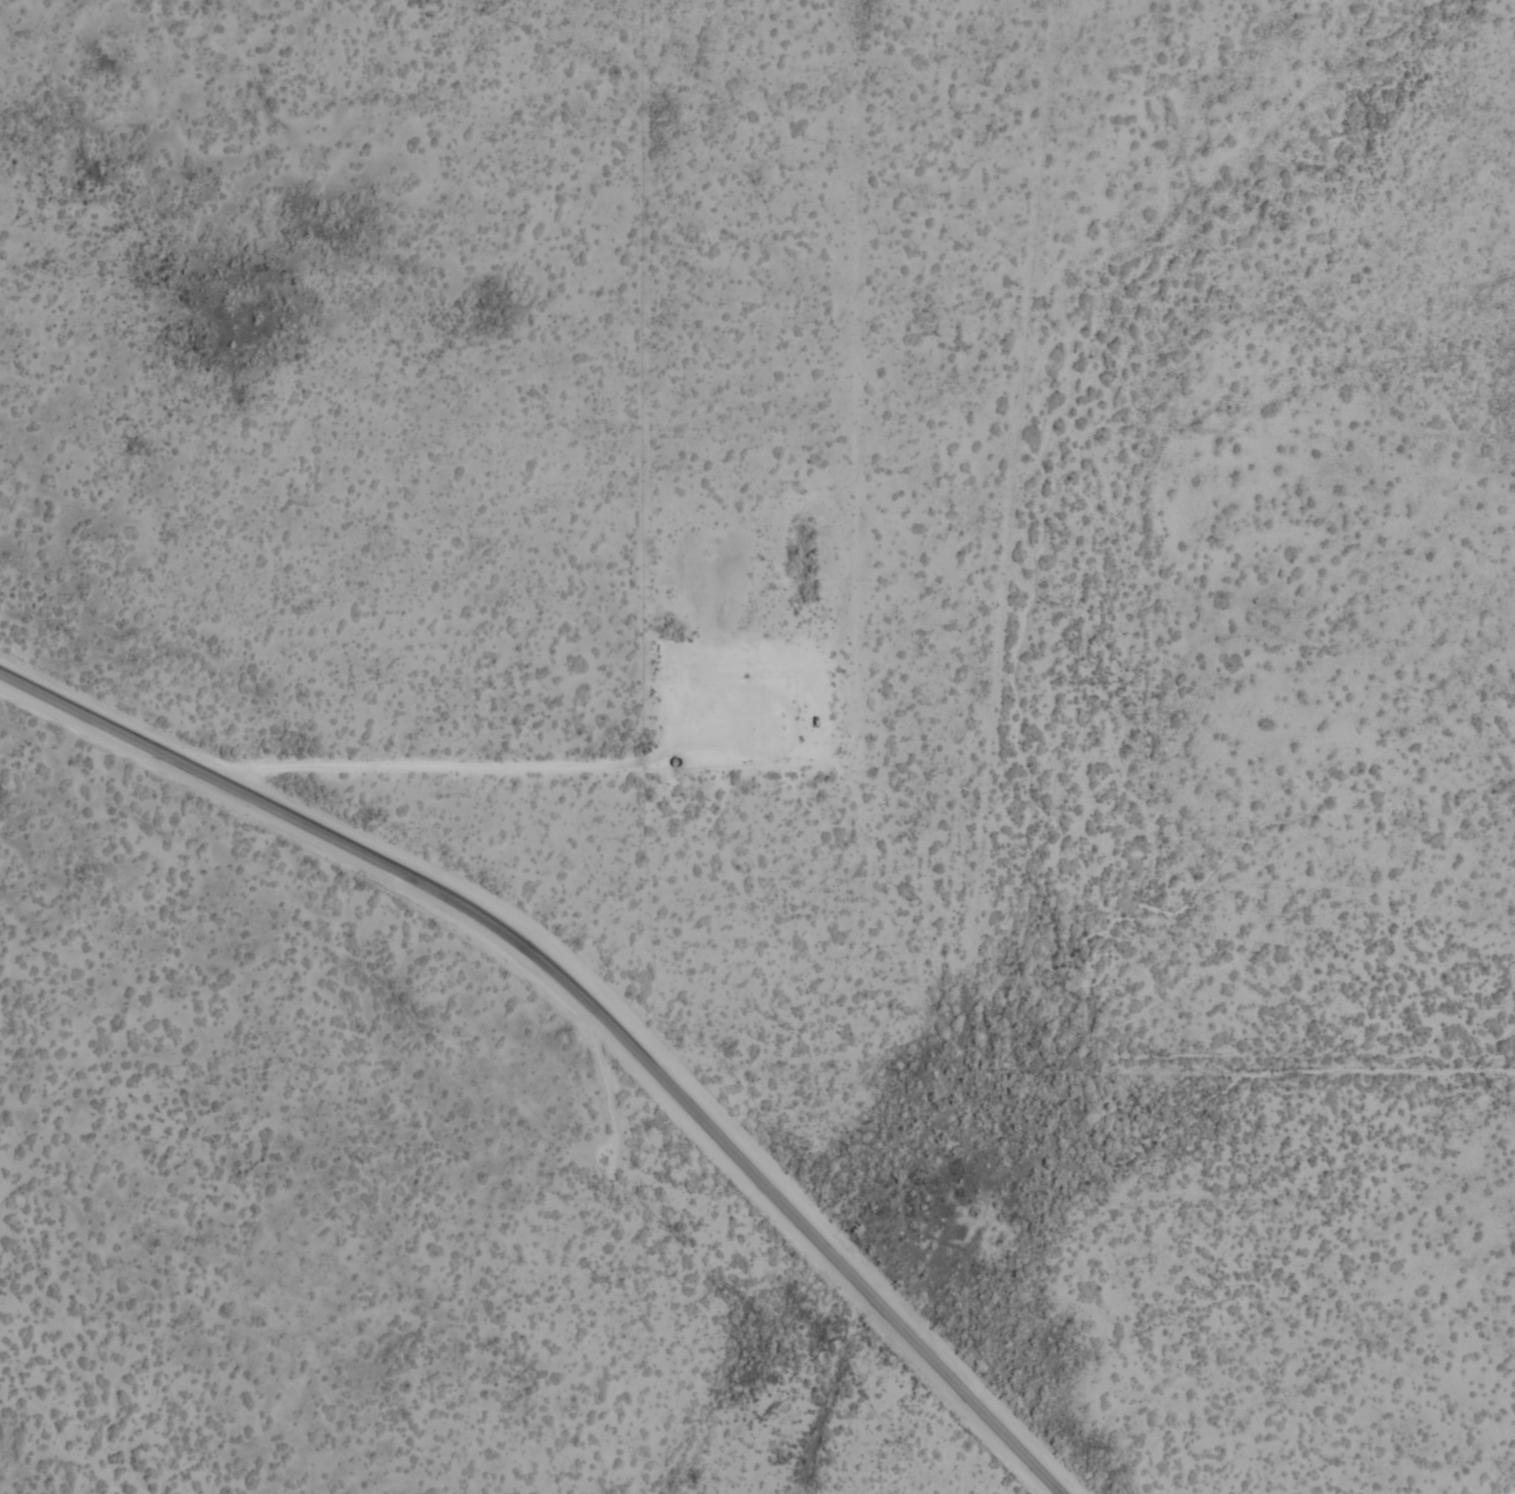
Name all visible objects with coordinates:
road: (497, 766)
road: (590, 1004)

